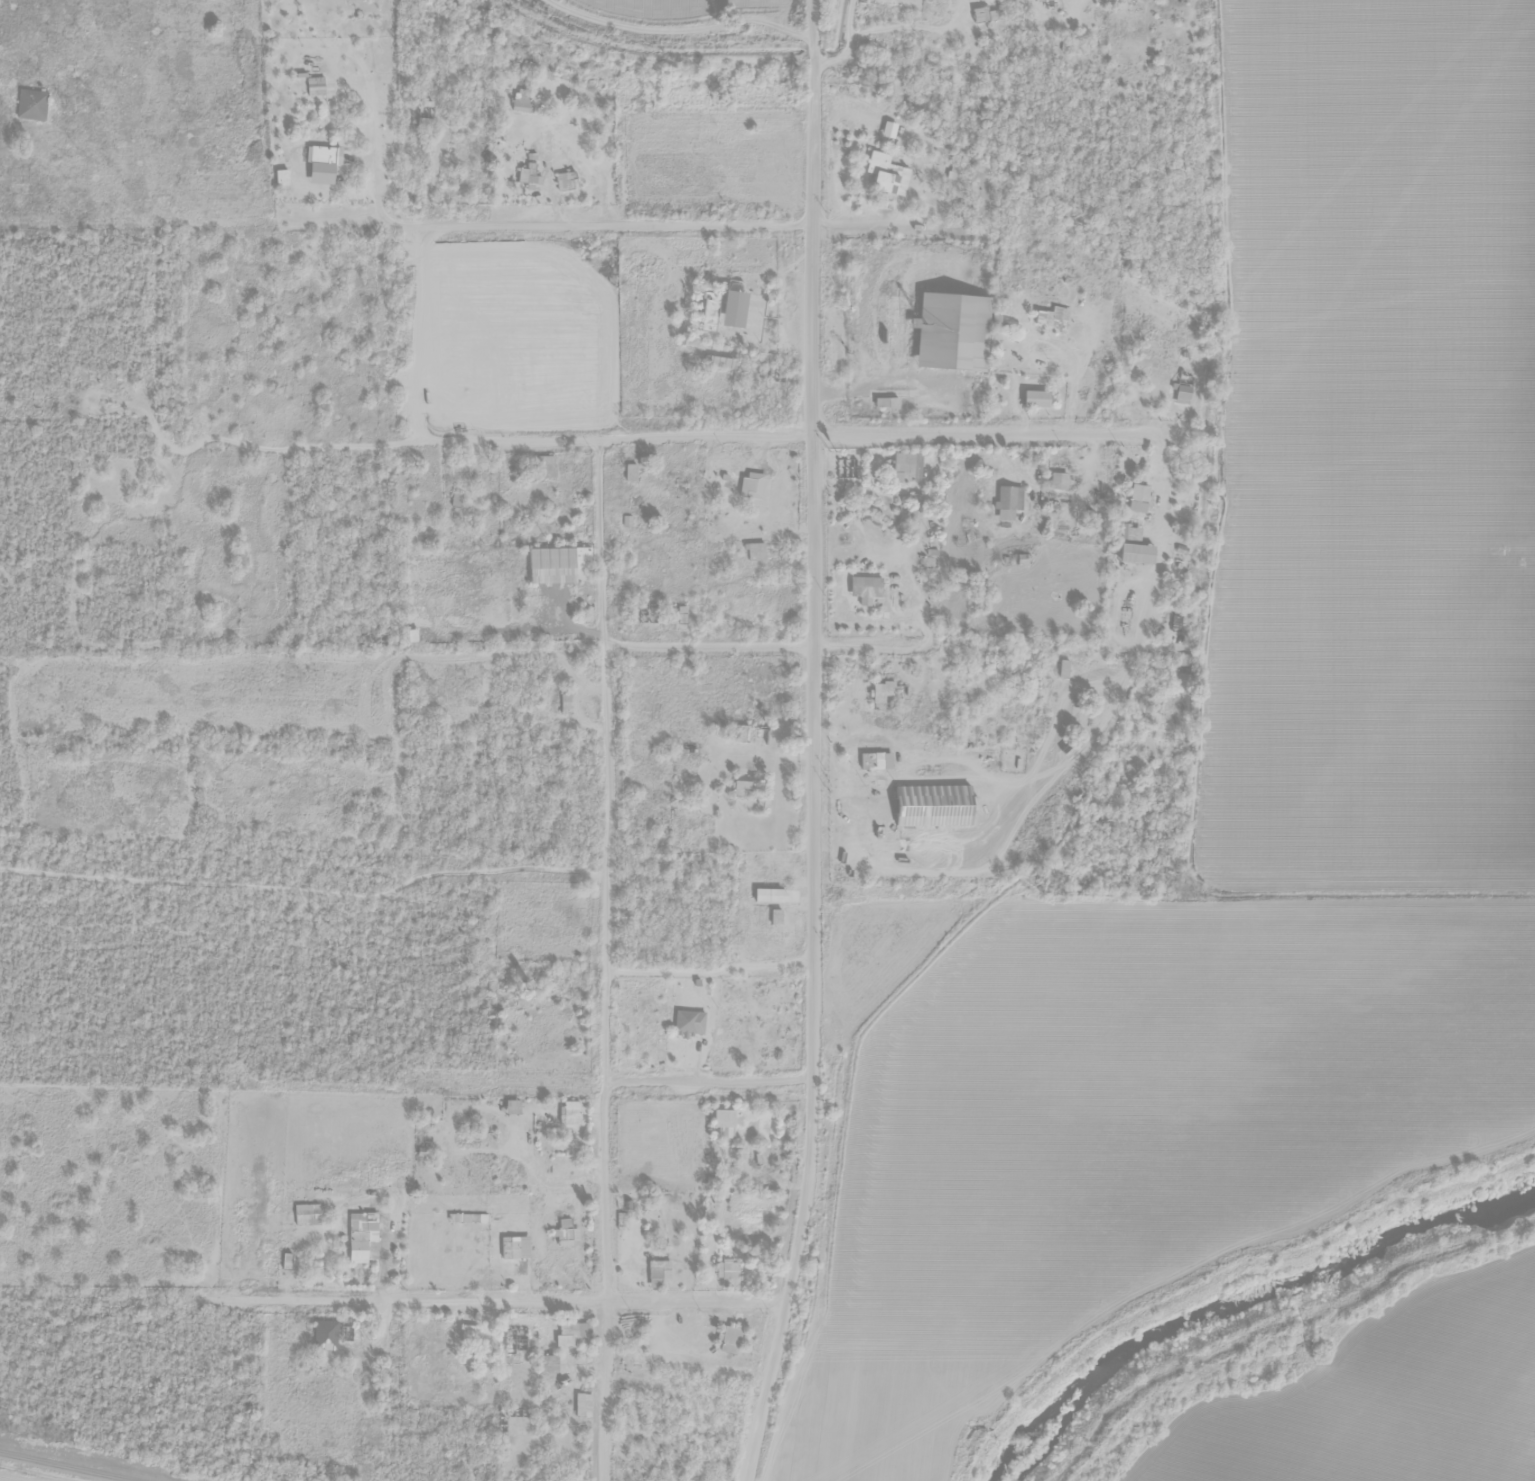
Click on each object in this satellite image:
railway: (68, 1466)

